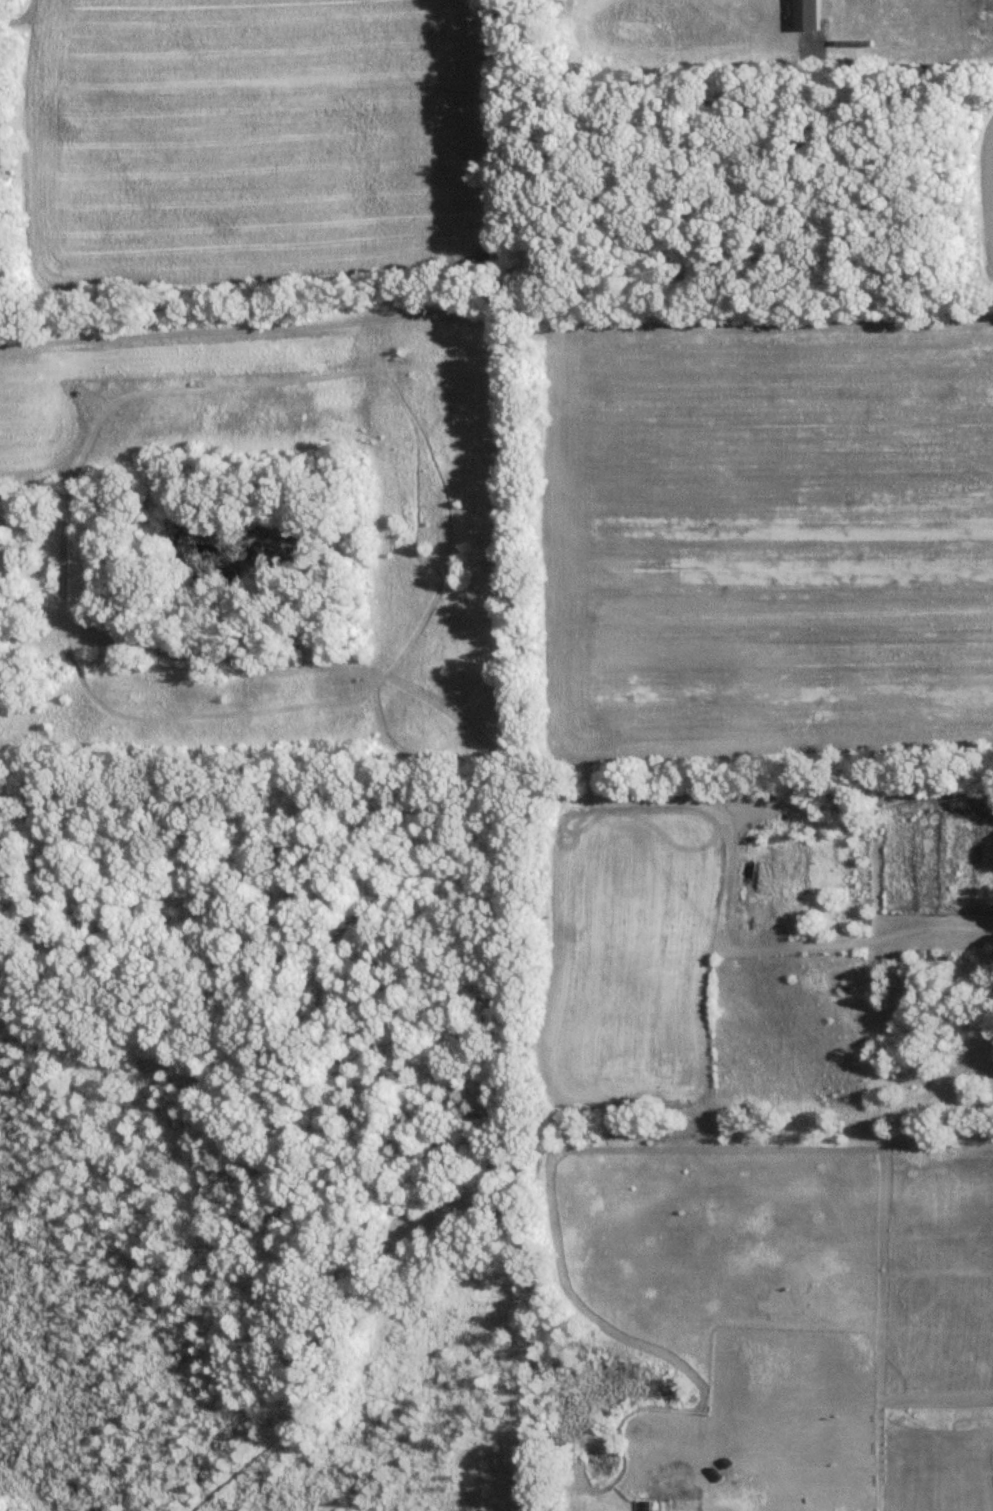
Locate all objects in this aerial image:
building: (807, 15)
road: (901, 69)

